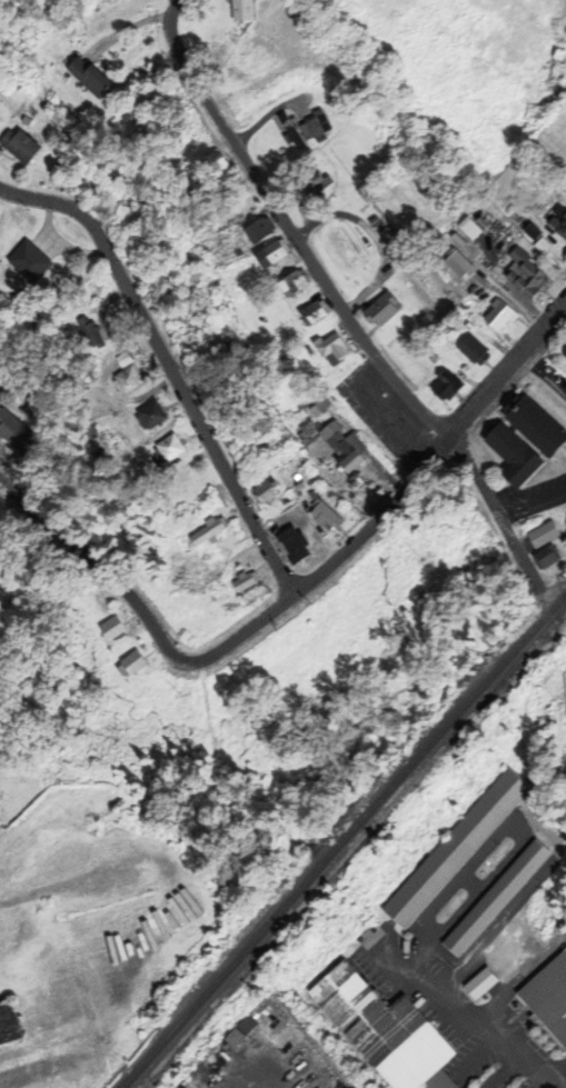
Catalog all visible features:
road: (172, 4)
building: (245, 9)
building: (252, 57)
building: (90, 74)
building: (306, 127)
building: (21, 144)
building: (317, 183)
building: (376, 221)
building: (556, 223)
building: (465, 228)
building: (261, 229)
building: (397, 243)
building: (239, 251)
building: (274, 252)
building: (36, 258)
building: (453, 263)
building: (520, 272)
building: (296, 282)
road: (340, 308)
building: (384, 308)
building: (316, 311)
building: (494, 317)
building: (82, 332)
building: (92, 332)
building: (334, 347)
building: (468, 350)
building: (565, 352)
road: (163, 369)
road: (544, 376)
building: (130, 378)
building: (118, 380)
building: (440, 387)
building: (322, 403)
building: (26, 408)
building: (152, 415)
building: (141, 416)
building: (539, 423)
building: (16, 431)
building: (106, 440)
building: (337, 442)
building: (170, 447)
building: (159, 449)
building: (517, 453)
building: (355, 476)
building: (259, 491)
road: (397, 496)
road: (532, 502)
building: (320, 516)
building: (216, 526)
building: (206, 527)
building: (546, 533)
building: (287, 546)
building: (548, 556)
building: (563, 566)
road: (105, 575)
building: (247, 580)
building: (236, 582)
building: (113, 628)
building: (135, 661)
building: (559, 746)
park: (17, 787)
railway: (344, 840)
building: (457, 847)
railway: (361, 850)
building: (498, 897)
building: (106, 921)
building: (484, 981)
building: (546, 997)
building: (10, 1020)
building: (389, 1029)
road: (523, 1048)
road: (558, 1072)
road: (546, 1084)

